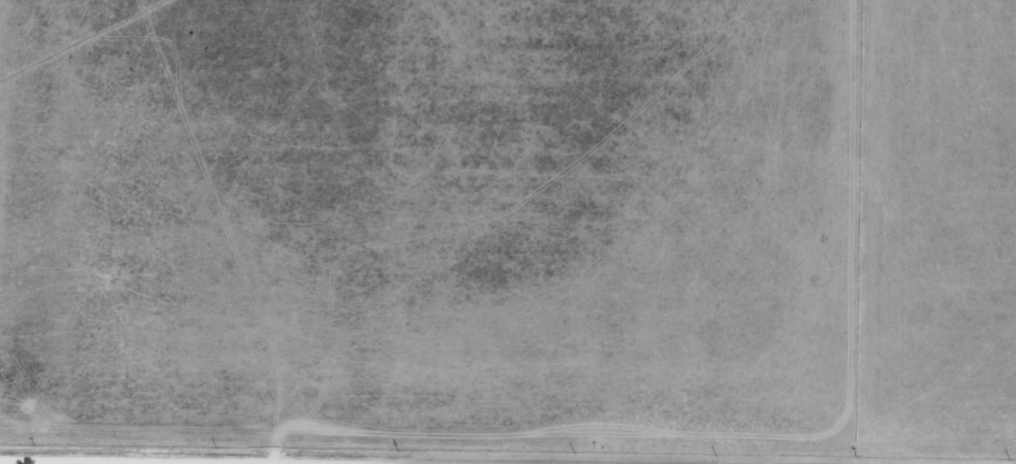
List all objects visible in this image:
road: (37, 463)

